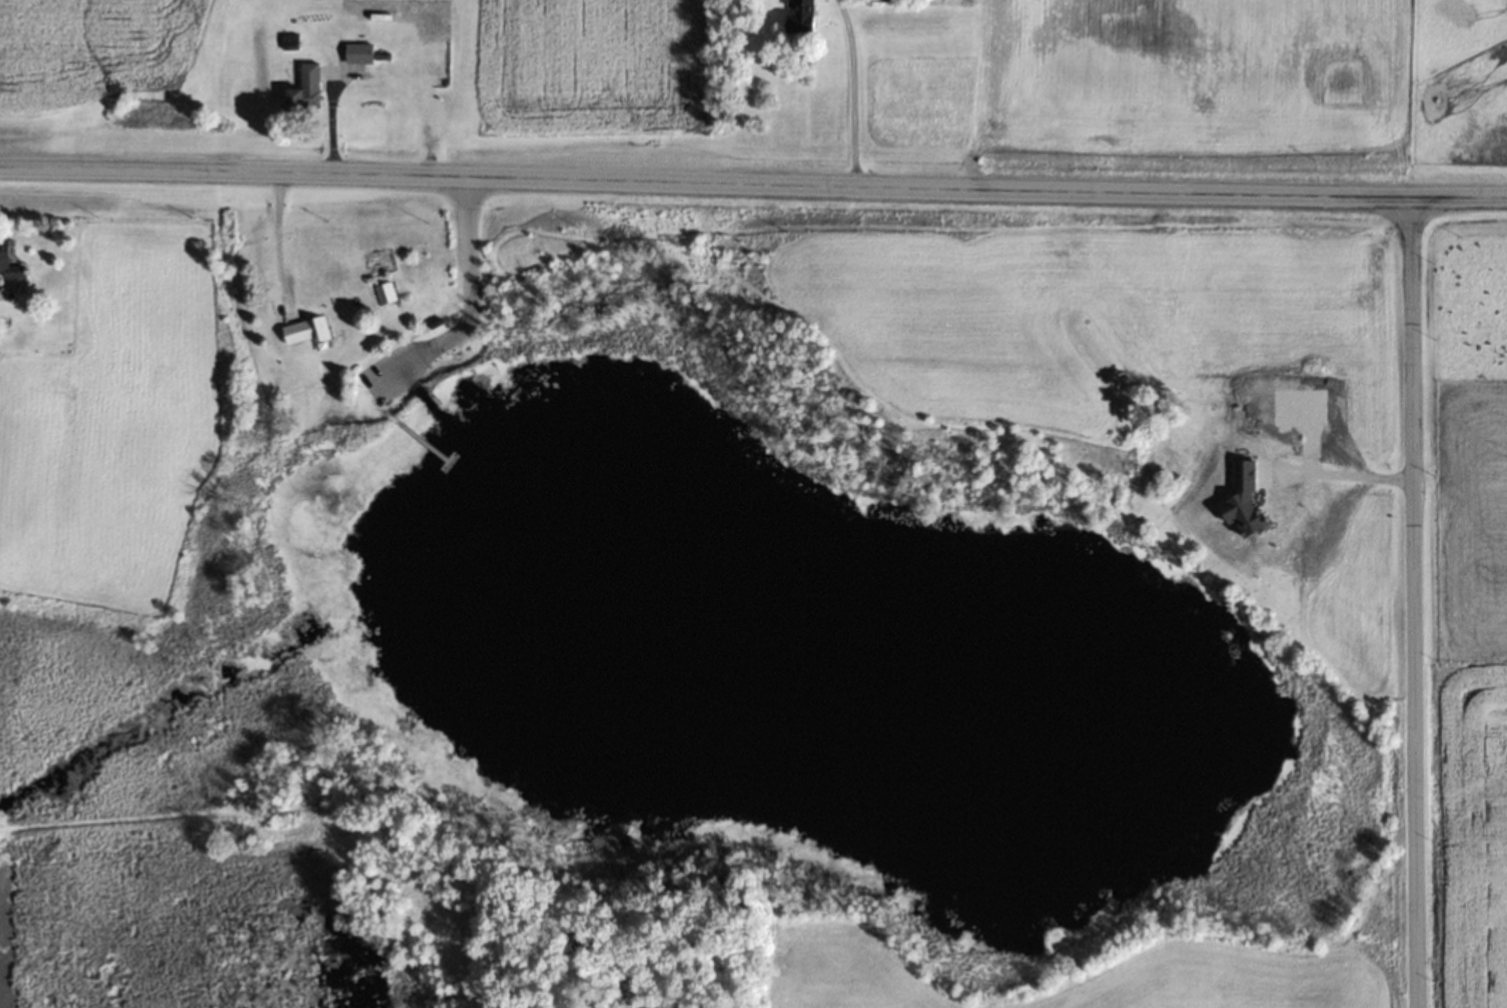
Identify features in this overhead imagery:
building: (800, 16)
building: (358, 51)
crop: (1462, 81)
building: (305, 88)
road: (704, 182)
road: (1458, 197)
building: (8, 260)
building: (383, 291)
building: (306, 330)
building: (1163, 457)
road: (1340, 470)
building: (1287, 510)
road: (1414, 602)
crop: (1475, 608)

